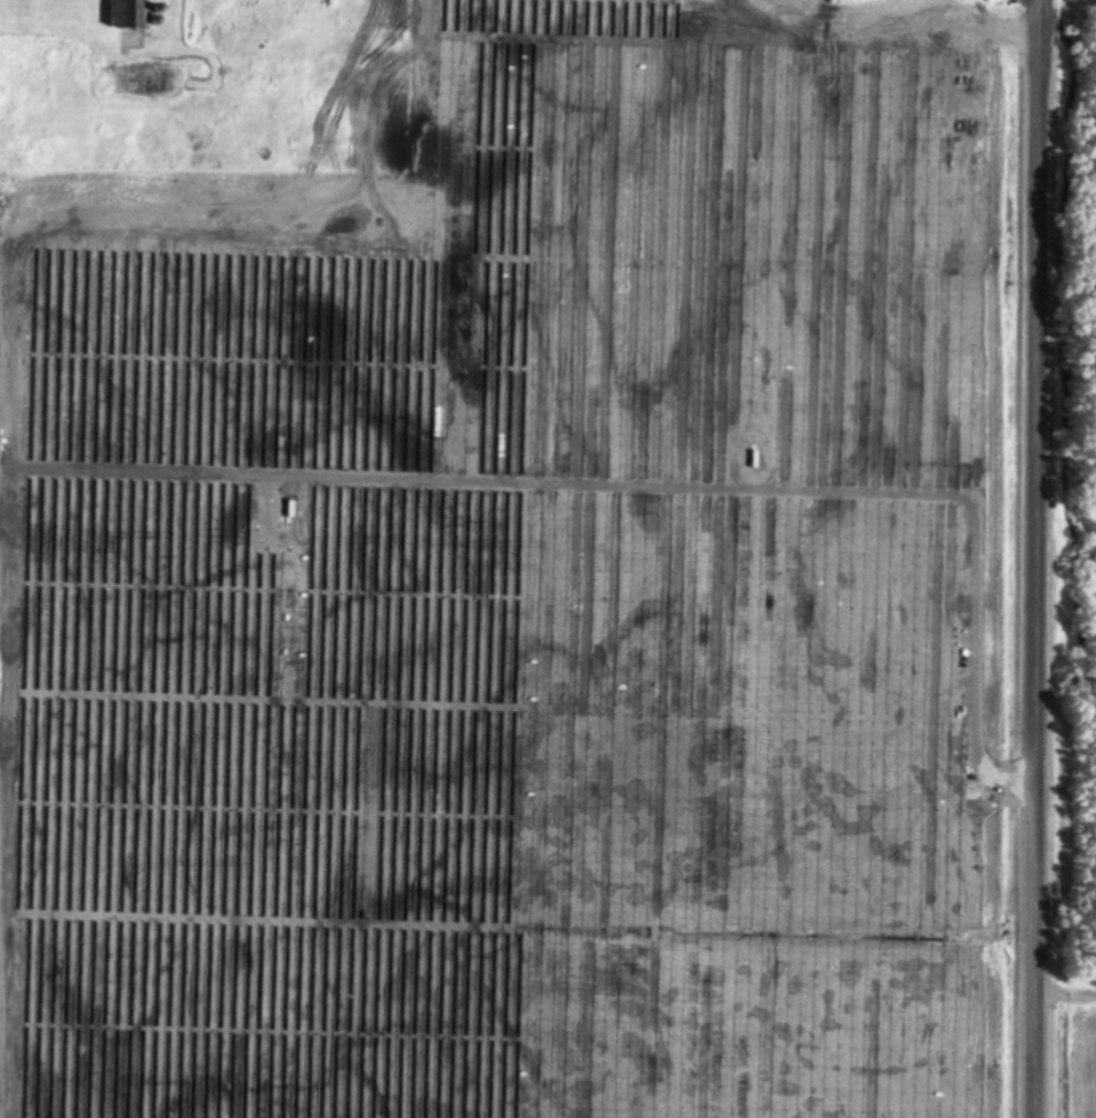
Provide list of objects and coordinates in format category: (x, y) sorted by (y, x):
building: (116, 14)
road: (1041, 30)
road: (1038, 588)

